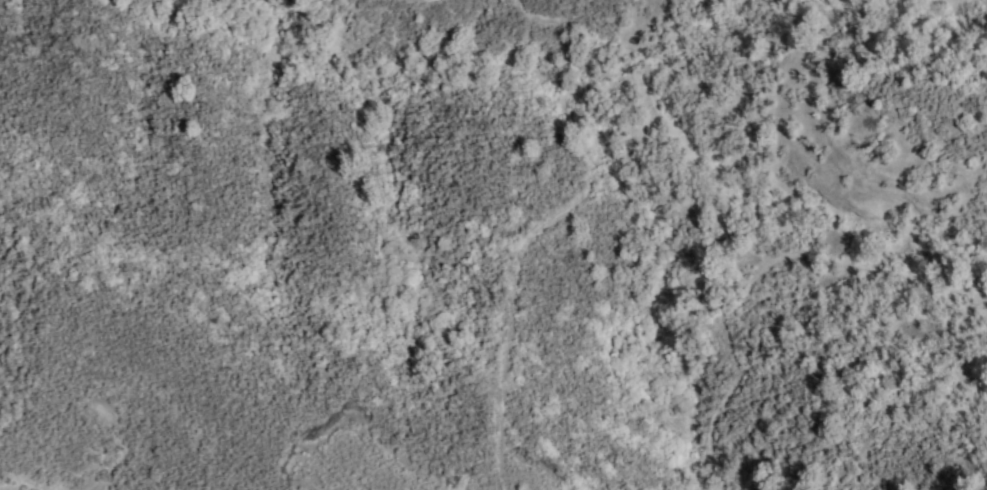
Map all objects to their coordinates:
road: (564, 201)
road: (748, 284)

